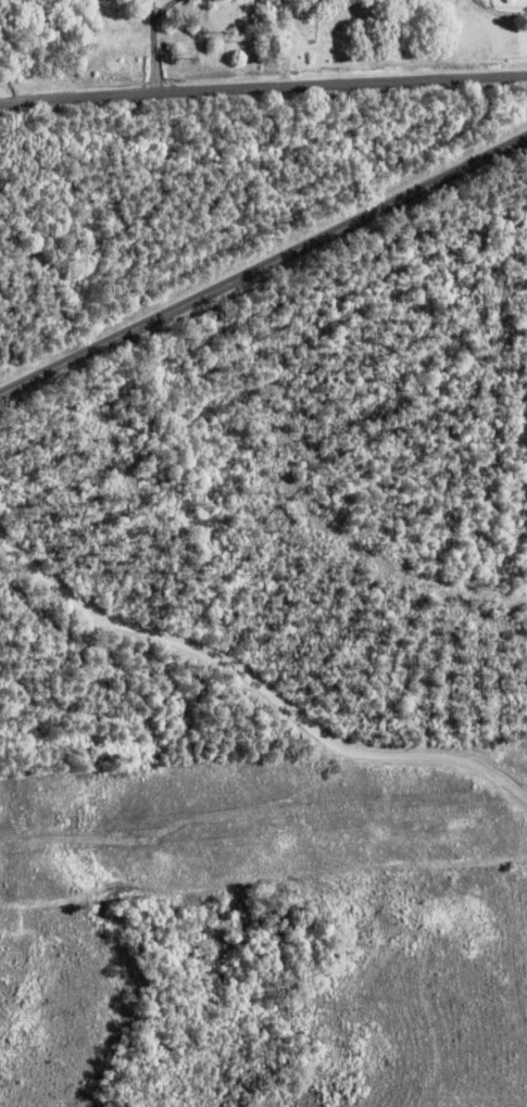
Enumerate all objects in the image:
road: (156, 47)
road: (263, 88)
road: (263, 268)
road: (258, 687)

